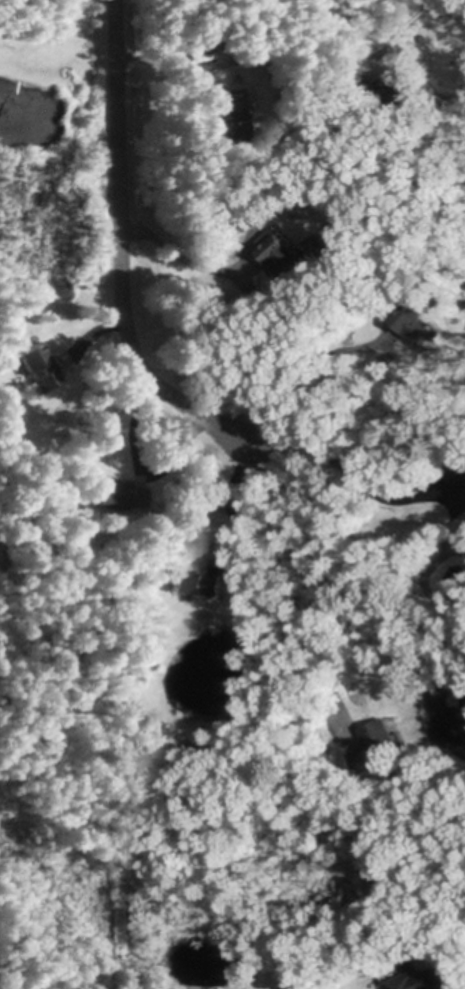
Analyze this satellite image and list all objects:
road: (412, 20)
building: (259, 52)
road: (171, 69)
building: (392, 94)
building: (236, 114)
road: (122, 250)
building: (281, 251)
road: (186, 261)
building: (414, 286)
building: (411, 319)
building: (38, 363)
building: (455, 469)
road: (347, 473)
building: (464, 488)
building: (120, 491)
road: (245, 507)
building: (451, 541)
road: (309, 581)
building: (196, 582)
building: (253, 604)
building: (374, 743)
building: (420, 980)

